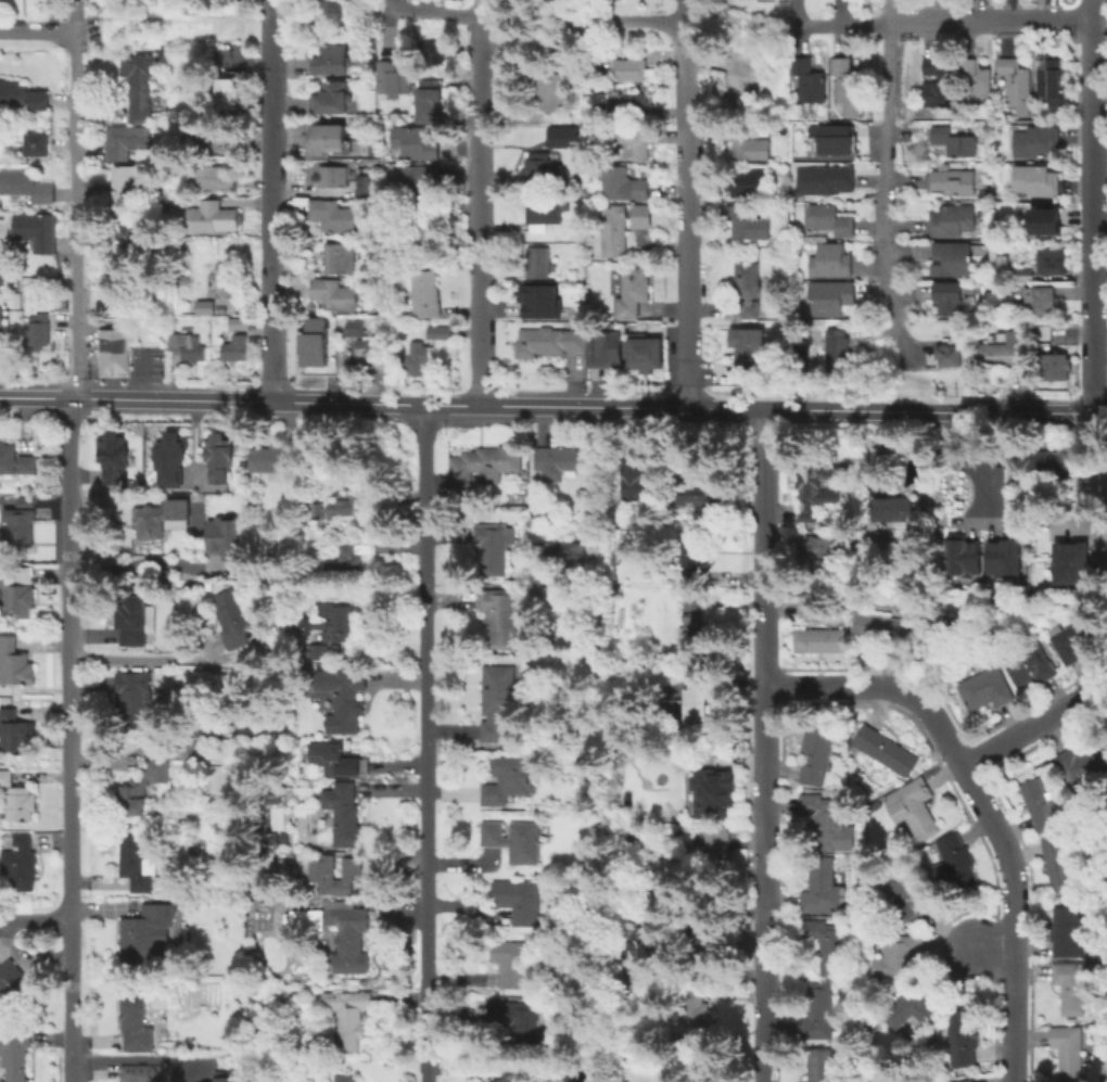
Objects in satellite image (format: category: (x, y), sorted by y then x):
road: (438, 13)
road: (76, 15)
road: (738, 20)
road: (236, 21)
road: (624, 21)
road: (941, 21)
road: (1099, 23)
road: (522, 26)
road: (38, 29)
building: (331, 60)
building: (634, 66)
building: (397, 77)
building: (809, 79)
building: (739, 80)
building: (847, 80)
building: (975, 80)
building: (1049, 82)
building: (143, 84)
building: (936, 85)
building: (1015, 85)
building: (232, 90)
building: (22, 97)
building: (333, 99)
building: (628, 101)
building: (432, 104)
building: (561, 136)
building: (330, 139)
building: (832, 139)
building: (127, 141)
building: (214, 141)
building: (954, 142)
building: (1035, 142)
building: (417, 144)
building: (640, 144)
building: (748, 144)
building: (37, 145)
building: (377, 151)
building: (540, 168)
road: (885, 175)
building: (334, 177)
building: (214, 178)
building: (830, 180)
building: (1036, 180)
building: (418, 181)
building: (954, 181)
building: (128, 182)
building: (622, 183)
building: (748, 183)
building: (368, 186)
building: (26, 187)
road: (273, 201)
road: (482, 202)
road: (685, 204)
road: (1093, 205)
building: (544, 213)
road: (77, 214)
building: (336, 216)
building: (642, 216)
building: (218, 219)
building: (952, 219)
building: (828, 220)
building: (748, 224)
building: (1040, 224)
building: (38, 230)
building: (429, 230)
building: (615, 230)
building: (133, 233)
building: (342, 258)
building: (1052, 260)
building: (538, 262)
building: (830, 262)
building: (951, 262)
building: (3, 267)
building: (1011, 270)
building: (188, 280)
building: (228, 282)
building: (748, 288)
building: (633, 293)
building: (427, 294)
building: (335, 295)
building: (830, 298)
building: (950, 298)
building: (1043, 301)
building: (536, 303)
building: (206, 308)
building: (389, 309)
building: (1, 320)
building: (240, 323)
building: (39, 332)
building: (441, 332)
building: (367, 340)
building: (551, 340)
building: (323, 345)
building: (190, 346)
building: (606, 346)
building: (238, 348)
building: (751, 348)
building: (838, 348)
building: (112, 349)
building: (646, 349)
building: (1006, 352)
building: (951, 353)
building: (418, 356)
building: (1053, 367)
road: (895, 378)
road: (552, 406)
road: (588, 419)
building: (169, 455)
building: (112, 457)
building: (218, 457)
road: (964, 458)
building: (15, 461)
building: (277, 461)
building: (561, 461)
building: (1045, 462)
building: (485, 467)
building: (638, 480)
building: (814, 485)
building: (702, 499)
building: (336, 507)
building: (895, 508)
building: (161, 518)
building: (20, 522)
building: (225, 538)
building: (495, 547)
building: (568, 552)
building: (695, 553)
building: (827, 555)
building: (966, 557)
building: (1006, 557)
building: (616, 558)
building: (349, 559)
building: (1074, 562)
road: (135, 568)
building: (691, 577)
building: (191, 586)
building: (209, 587)
building: (18, 590)
building: (1, 598)
building: (812, 606)
building: (502, 616)
building: (234, 618)
building: (136, 619)
building: (338, 620)
building: (692, 622)
building: (941, 626)
building: (883, 628)
building: (1080, 637)
building: (822, 640)
building: (320, 651)
road: (145, 658)
building: (14, 663)
building: (1006, 678)
road: (881, 686)
building: (129, 697)
building: (344, 698)
building: (496, 703)
building: (695, 705)
building: (675, 707)
road: (1034, 727)
building: (207, 729)
building: (16, 733)
road: (69, 739)
road: (423, 743)
road: (762, 744)
building: (886, 750)
building: (184, 751)
building: (817, 752)
building: (339, 760)
building: (217, 763)
building: (1084, 764)
building: (5, 778)
building: (506, 779)
building: (140, 787)
building: (714, 792)
building: (269, 799)
building: (21, 804)
building: (870, 804)
building: (1042, 804)
building: (914, 810)
building: (346, 815)
building: (828, 822)
building: (271, 837)
building: (283, 837)
building: (513, 840)
building: (711, 853)
building: (20, 861)
building: (1059, 861)
building: (136, 863)
building: (956, 864)
building: (333, 874)
building: (824, 888)
building: (911, 895)
building: (518, 900)
road: (36, 917)
road: (1016, 918)
building: (1066, 932)
building: (143, 935)
building: (354, 942)
building: (705, 943)
building: (829, 944)
building: (646, 950)
road: (995, 950)
building: (903, 954)
building: (517, 959)
building: (12, 985)
building: (1072, 986)
building: (916, 1006)
building: (819, 1013)
building: (702, 1015)
building: (347, 1016)
building: (517, 1017)
building: (136, 1022)
building: (966, 1036)
building: (1070, 1049)
building: (16, 1053)
road: (135, 1055)
building: (822, 1065)
building: (138, 1068)
building: (224, 1077)
building: (345, 1078)
building: (580, 1078)
building: (964, 1079)
building: (977, 1080)
building: (488, 1081)

